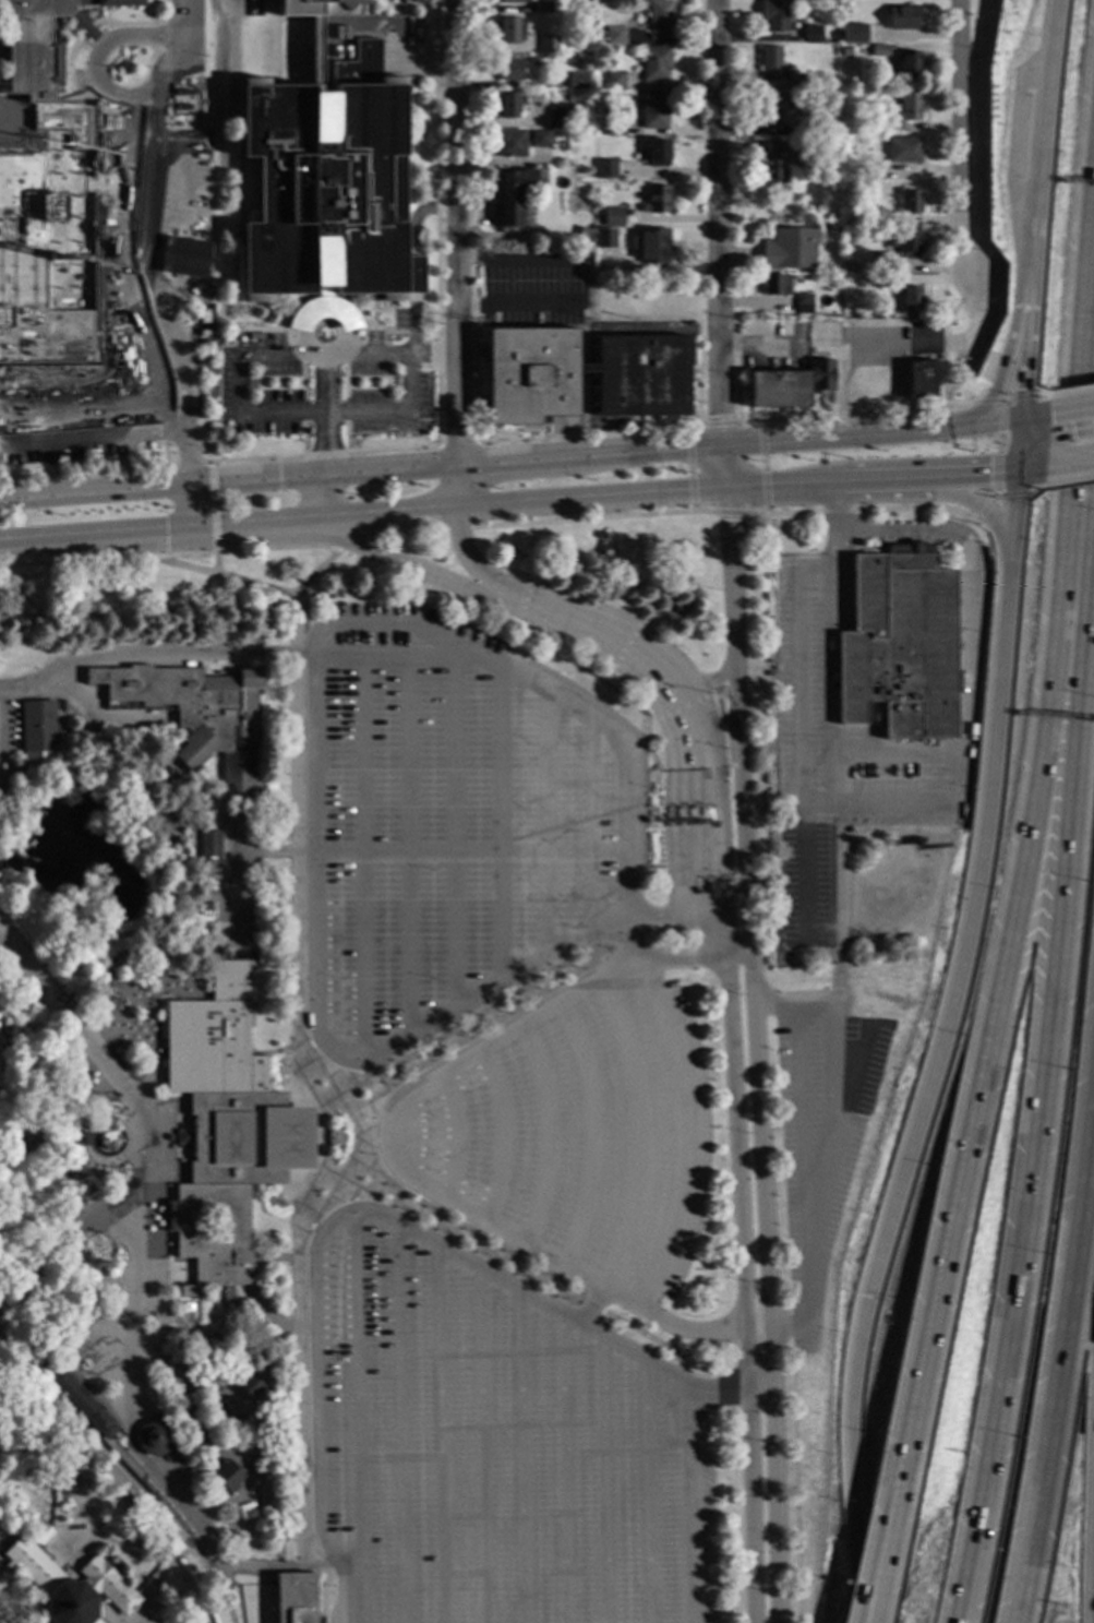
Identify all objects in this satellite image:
road: (226, 1)
building: (508, 2)
building: (541, 8)
building: (774, 15)
building: (902, 17)
building: (660, 20)
building: (508, 29)
building: (812, 35)
building: (851, 35)
building: (614, 36)
building: (878, 37)
building: (546, 44)
road: (181, 48)
building: (878, 50)
building: (844, 52)
road: (97, 53)
building: (654, 63)
building: (769, 63)
building: (909, 64)
building: (508, 70)
building: (576, 81)
building: (613, 81)
building: (800, 81)
building: (859, 83)
building: (504, 105)
building: (653, 110)
building: (774, 110)
building: (903, 111)
building: (557, 118)
building: (813, 127)
building: (614, 128)
building: (540, 139)
road: (960, 141)
road: (1041, 143)
building: (509, 144)
building: (903, 151)
building: (656, 153)
building: (773, 164)
building: (605, 169)
building: (871, 172)
building: (96, 179)
building: (326, 182)
building: (513, 199)
building: (656, 200)
building: (910, 202)
building: (45, 204)
road: (417, 215)
building: (613, 217)
building: (870, 219)
road: (176, 220)
road: (435, 223)
road: (125, 226)
building: (847, 237)
building: (603, 239)
building: (905, 243)
road: (717, 244)
building: (651, 246)
building: (789, 249)
road: (457, 255)
building: (179, 258)
road: (514, 259)
building: (882, 263)
building: (865, 264)
road: (412, 275)
building: (887, 281)
building: (776, 285)
building: (910, 299)
building: (803, 303)
road: (515, 305)
road: (1022, 312)
road: (413, 325)
road: (943, 344)
road: (921, 345)
road: (757, 348)
road: (433, 358)
road: (477, 373)
building: (820, 375)
road: (175, 379)
building: (921, 380)
road: (1021, 381)
road: (995, 384)
road: (10, 389)
building: (778, 390)
road: (1072, 390)
traffic signals: (1022, 391)
road: (64, 394)
building: (640, 394)
road: (1042, 395)
building: (8, 397)
road: (1003, 399)
road: (325, 406)
road: (855, 414)
road: (321, 416)
road: (1072, 416)
traffic signals: (1050, 420)
road: (1036, 422)
road: (718, 425)
road: (995, 427)
road: (587, 433)
road: (95, 434)
road: (183, 443)
road: (457, 444)
road: (996, 446)
road: (1019, 447)
road: (647, 454)
road: (218, 462)
road: (1069, 463)
road: (762, 466)
road: (689, 469)
road: (1031, 469)
traffic signals: (988, 474)
road: (971, 475)
road: (321, 477)
road: (1089, 478)
road: (877, 480)
road: (250, 482)
road: (1068, 484)
road: (778, 486)
road: (1034, 490)
road: (93, 493)
road: (993, 497)
road: (316, 500)
road: (522, 505)
road: (213, 506)
road: (188, 509)
road: (865, 511)
road: (978, 511)
road: (734, 514)
road: (590, 518)
road: (835, 523)
road: (252, 525)
road: (457, 529)
road: (906, 530)
traffic signals: (165, 533)
road: (402, 533)
road: (94, 537)
road: (347, 544)
road: (168, 556)
road: (215, 563)
road: (472, 564)
building: (119, 565)
road: (413, 568)
road: (251, 585)
road: (294, 606)
building: (291, 608)
road: (542, 612)
building: (293, 619)
road: (296, 619)
road: (388, 625)
road: (596, 634)
road: (296, 640)
building: (902, 645)
road: (397, 657)
building: (566, 658)
road: (143, 659)
road: (705, 684)
road: (827, 684)
road: (666, 685)
building: (63, 704)
building: (193, 714)
road: (101, 723)
building: (724, 723)
road: (7, 725)
building: (38, 726)
parking lot: (826, 730)
road: (314, 733)
road: (625, 750)
road: (870, 754)
building: (726, 787)
building: (707, 788)
building: (672, 790)
building: (683, 790)
building: (695, 791)
road: (1073, 795)
road: (677, 799)
road: (665, 800)
road: (689, 800)
road: (701, 800)
road: (868, 802)
road: (546, 826)
road: (589, 826)
parking lot: (448, 828)
road: (501, 828)
road: (454, 837)
building: (209, 843)
road: (718, 844)
road: (408, 851)
road: (470, 851)
road: (266, 854)
road: (362, 860)
building: (211, 876)
road: (726, 879)
road: (693, 884)
road: (237, 886)
building: (205, 902)
building: (206, 911)
road: (163, 914)
building: (205, 919)
road: (660, 921)
road: (630, 940)
road: (839, 942)
road: (694, 957)
road: (999, 1001)
building: (110, 1002)
building: (0, 1033)
road: (459, 1037)
building: (3, 1048)
road: (939, 1050)
road: (755, 1055)
road: (370, 1064)
building: (91, 1077)
road: (76, 1086)
road: (329, 1107)
building: (227, 1125)
road: (801, 1126)
road: (832, 1127)
parking lot: (569, 1134)
road: (636, 1135)
road: (548, 1136)
road: (592, 1136)
road: (457, 1138)
road: (502, 1138)
road: (76, 1145)
building: (15, 1151)
parking lot: (813, 1156)
road: (1031, 1196)
building: (80, 1202)
road: (330, 1226)
road: (455, 1232)
road: (67, 1243)
road: (527, 1246)
road: (741, 1262)
road: (166, 1270)
road: (141, 1290)
road: (251, 1290)
road: (593, 1308)
road: (765, 1333)
road: (812, 1340)
road: (145, 1347)
road: (1059, 1373)
building: (250, 1386)
road: (734, 1395)
road: (357, 1400)
building: (82, 1404)
road: (400, 1423)
railway: (92, 1431)
road: (442, 1434)
building: (153, 1437)
road: (482, 1445)
parking lot: (491, 1445)
road: (524, 1456)
railway: (106, 1467)
road: (564, 1468)
road: (249, 1475)
railway: (127, 1476)
building: (226, 1477)
road: (605, 1480)
road: (985, 1488)
road: (247, 1493)
road: (648, 1493)
road: (689, 1508)
road: (890, 1516)
road: (161, 1573)
road: (4, 1576)
building: (67, 1582)
road: (22, 1592)
road: (1092, 1594)
building: (296, 1598)
road: (867, 1602)
road: (870, 1602)
road: (107, 1613)

